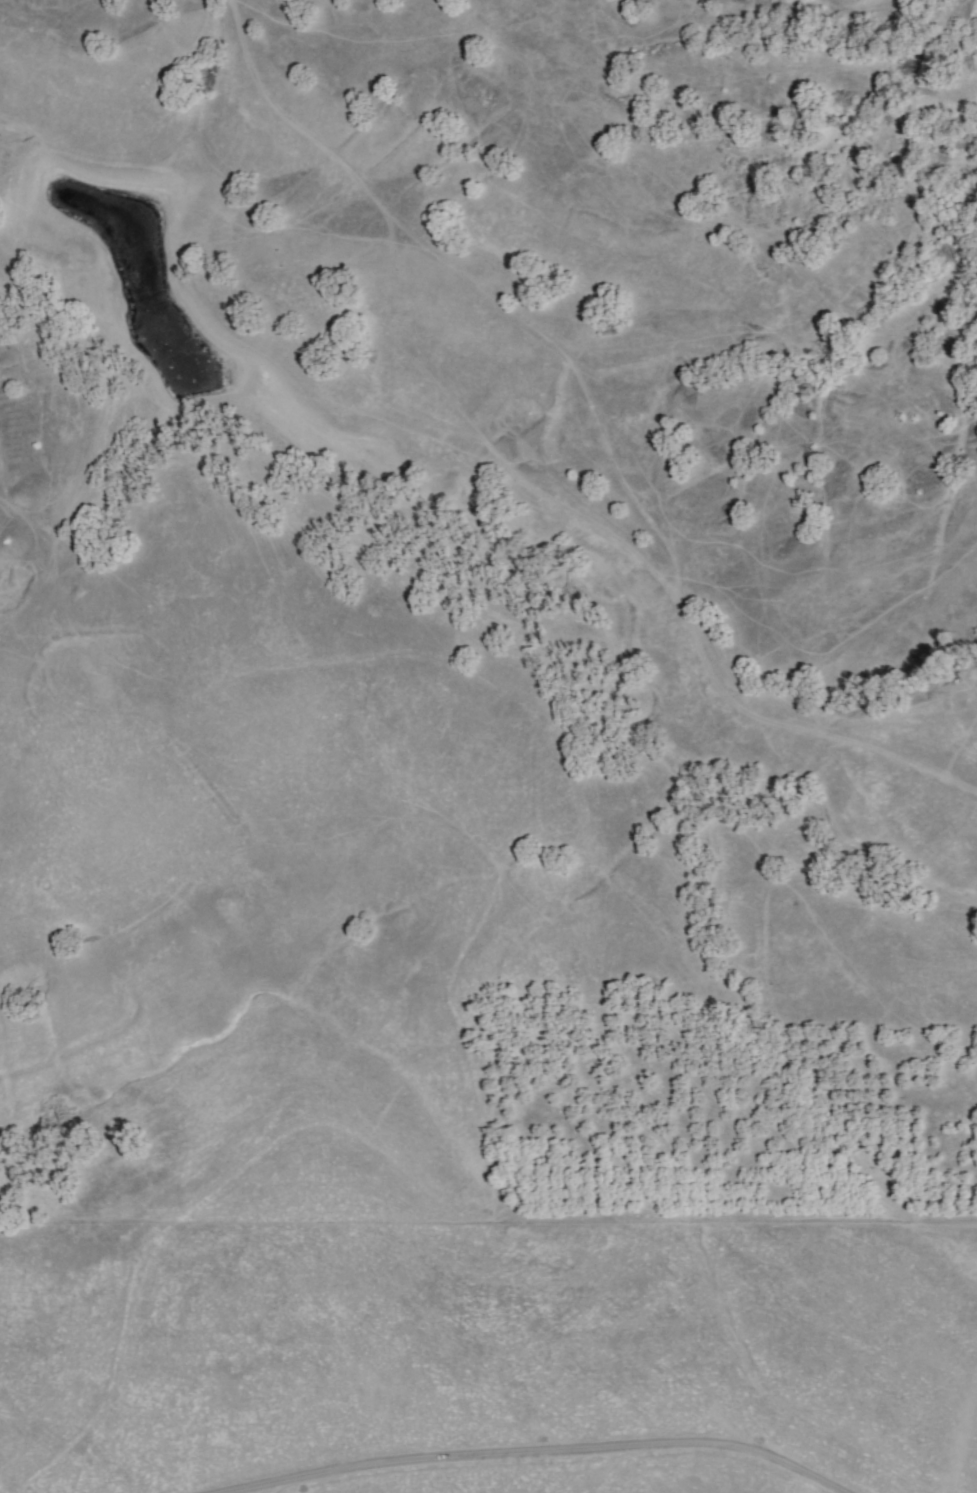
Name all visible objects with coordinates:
road: (537, 1454)

